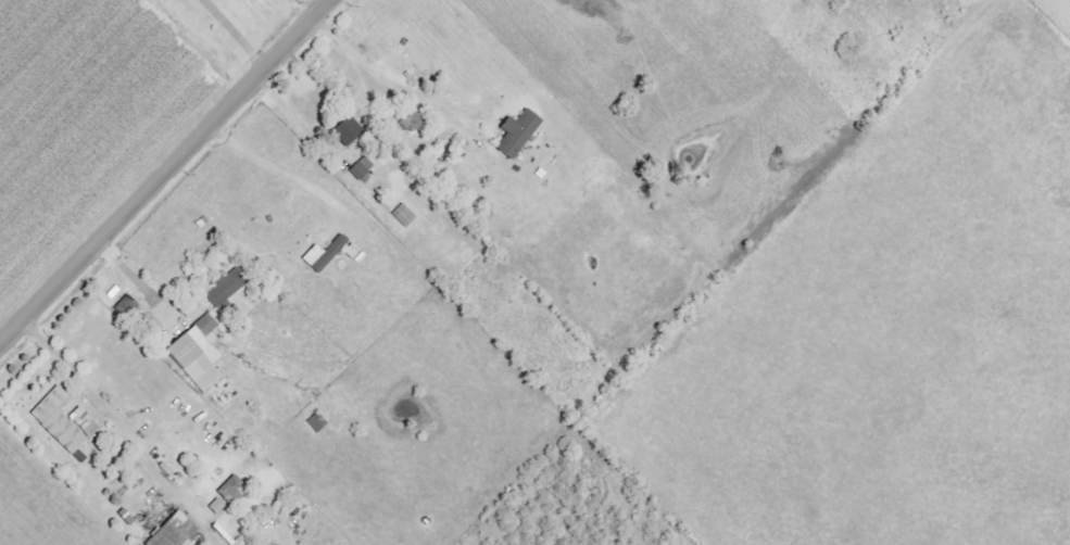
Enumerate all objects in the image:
crop: (1058, 11)
road: (234, 36)
road: (396, 90)
road: (292, 117)
building: (341, 128)
building: (516, 132)
building: (357, 169)
road: (168, 174)
road: (289, 179)
building: (403, 215)
building: (323, 253)
road: (139, 280)
building: (224, 287)
crop: (888, 330)
building: (190, 351)
road: (109, 417)
building: (56, 419)
building: (83, 421)
building: (316, 422)
building: (230, 490)
building: (216, 506)
building: (172, 531)

